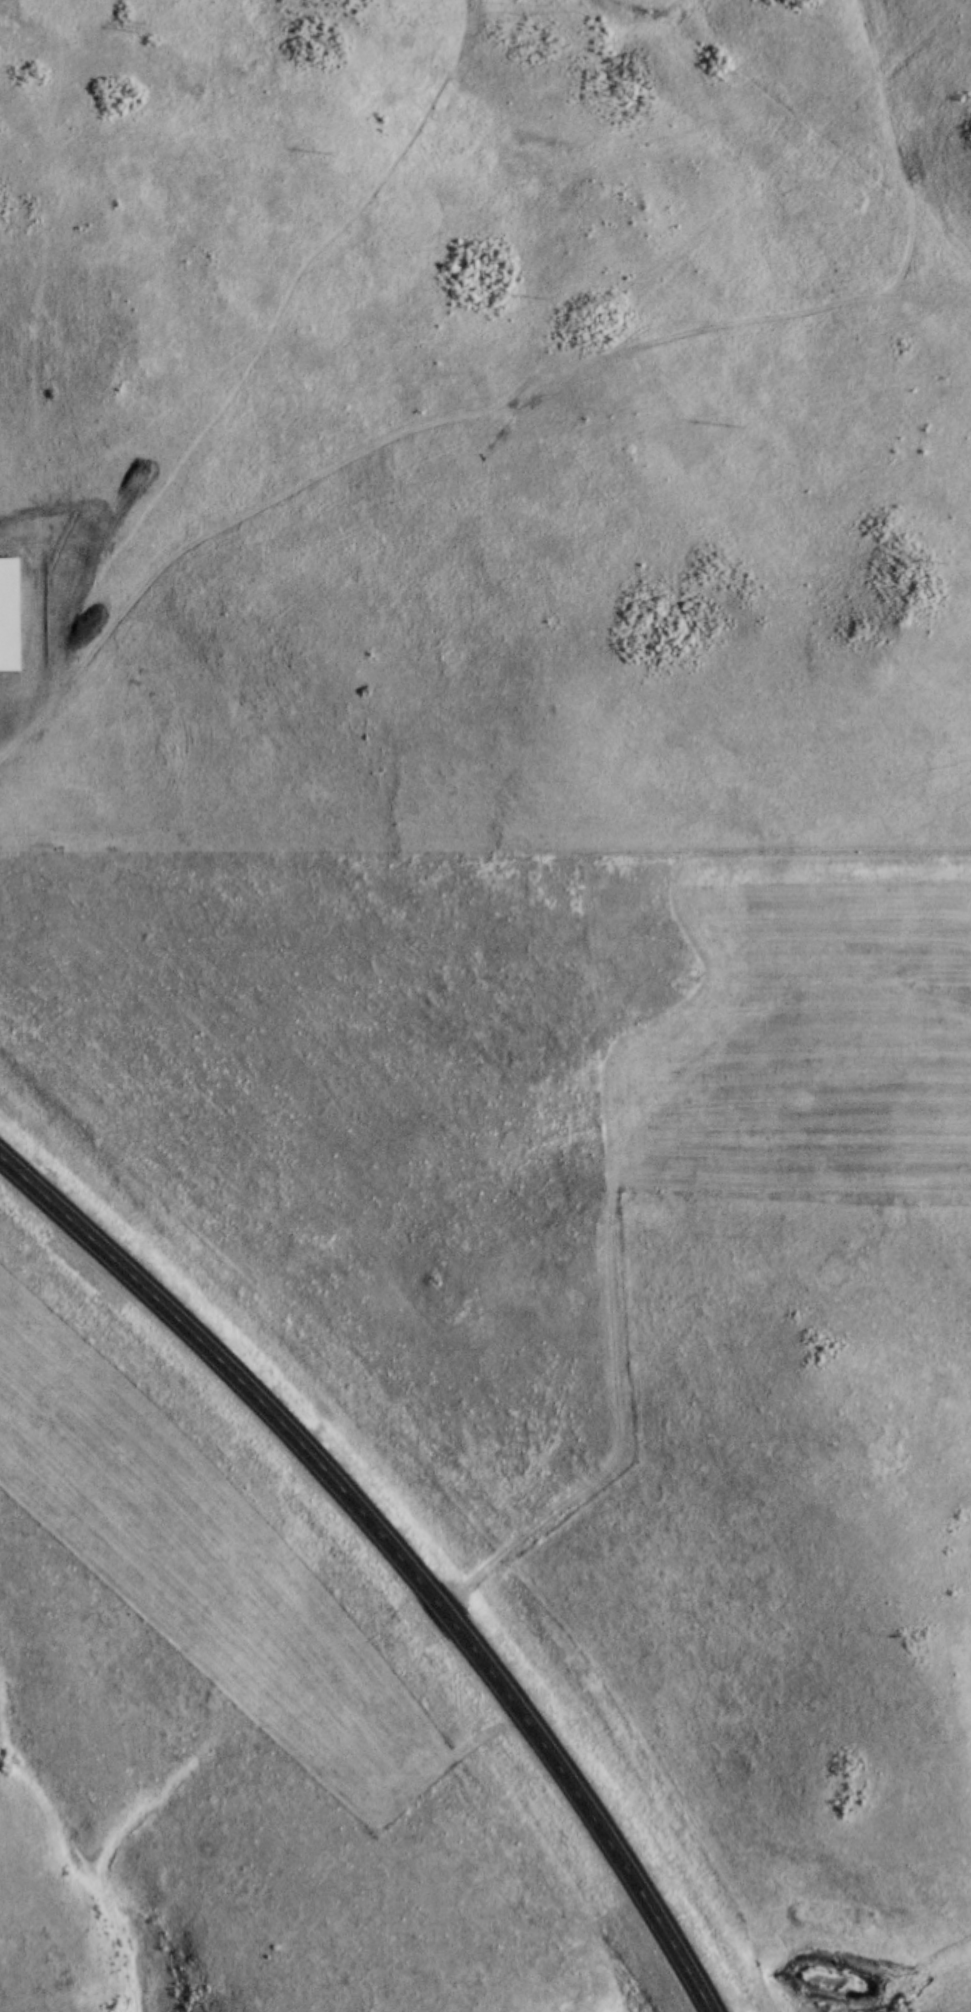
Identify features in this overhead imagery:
road: (398, 1549)

